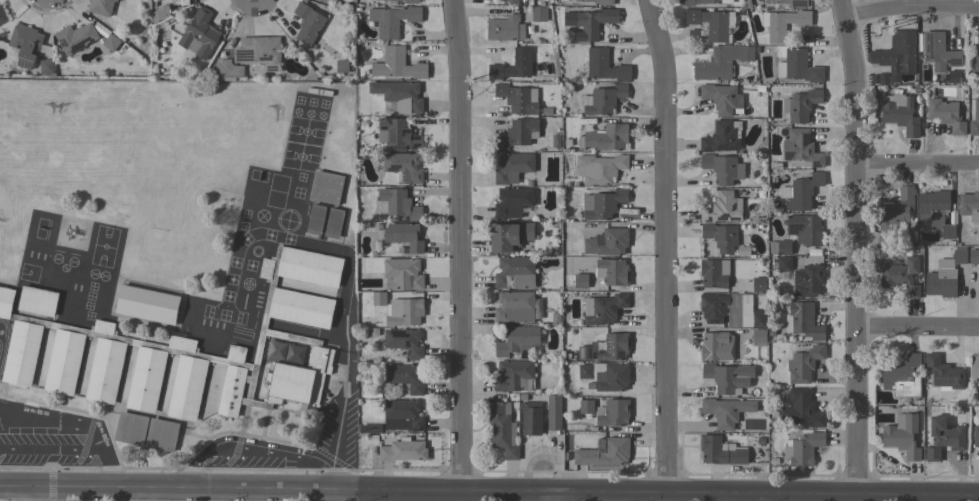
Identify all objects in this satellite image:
building: (407, 1)
building: (511, 2)
building: (599, 2)
building: (697, 2)
building: (789, 2)
building: (100, 7)
road: (910, 8)
building: (160, 14)
building: (540, 14)
building: (2, 15)
building: (392, 20)
building: (589, 22)
building: (307, 23)
building: (711, 23)
building: (505, 29)
building: (776, 34)
building: (198, 35)
building: (75, 37)
building: (110, 42)
building: (25, 44)
building: (259, 52)
building: (938, 52)
building: (899, 53)
building: (521, 55)
building: (721, 62)
building: (975, 64)
building: (397, 65)
building: (46, 66)
building: (604, 66)
building: (341, 67)
building: (798, 67)
building: (227, 70)
building: (952, 77)
building: (398, 96)
building: (517, 98)
building: (722, 99)
building: (602, 100)
building: (801, 105)
building: (899, 113)
building: (945, 115)
building: (975, 120)
building: (585, 121)
building: (399, 133)
building: (517, 134)
building: (605, 137)
building: (721, 137)
building: (554, 142)
building: (801, 148)
road: (919, 165)
building: (402, 167)
building: (512, 167)
building: (599, 168)
building: (722, 168)
building: (326, 187)
building: (801, 191)
building: (512, 201)
building: (399, 203)
building: (602, 204)
building: (969, 206)
building: (722, 208)
building: (896, 210)
building: (935, 211)
building: (315, 219)
building: (333, 223)
building: (804, 229)
building: (404, 235)
building: (508, 236)
building: (720, 236)
building: (883, 239)
building: (607, 242)
road: (667, 243)
road: (461, 244)
road: (861, 246)
building: (783, 247)
building: (400, 251)
building: (742, 251)
building: (973, 257)
building: (783, 264)
building: (612, 271)
building: (515, 272)
building: (714, 273)
building: (944, 275)
building: (901, 276)
building: (807, 280)
building: (580, 281)
building: (759, 285)
building: (378, 295)
building: (37, 301)
building: (147, 304)
building: (514, 307)
building: (605, 309)
building: (729, 312)
building: (556, 318)
building: (804, 320)
road: (921, 329)
building: (758, 337)
building: (517, 340)
building: (404, 341)
building: (614, 346)
building: (716, 346)
building: (186, 350)
building: (584, 352)
building: (804, 364)
building: (974, 367)
building: (944, 372)
building: (513, 375)
building: (605, 375)
building: (404, 376)
building: (727, 377)
building: (903, 378)
building: (586, 406)
building: (800, 409)
building: (726, 411)
building: (554, 412)
building: (613, 413)
building: (402, 415)
building: (531, 418)
road: (75, 423)
building: (369, 429)
building: (501, 430)
building: (146, 431)
building: (902, 435)
building: (976, 436)
building: (944, 438)
road: (334, 444)
road: (247, 449)
building: (803, 449)
building: (402, 450)
building: (720, 451)
building: (604, 452)
building: (760, 456)
road: (181, 487)
road: (671, 490)
road: (34, 493)

